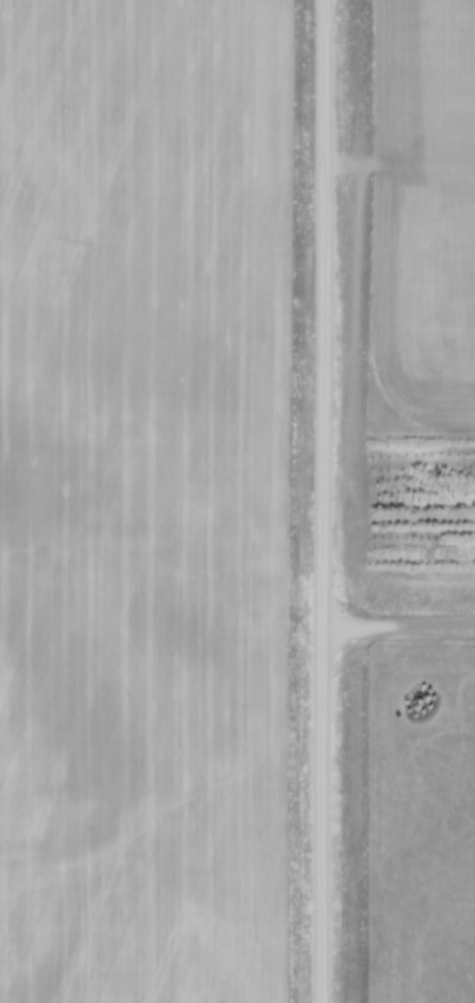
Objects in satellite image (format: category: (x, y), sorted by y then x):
road: (323, 501)
road: (398, 632)

